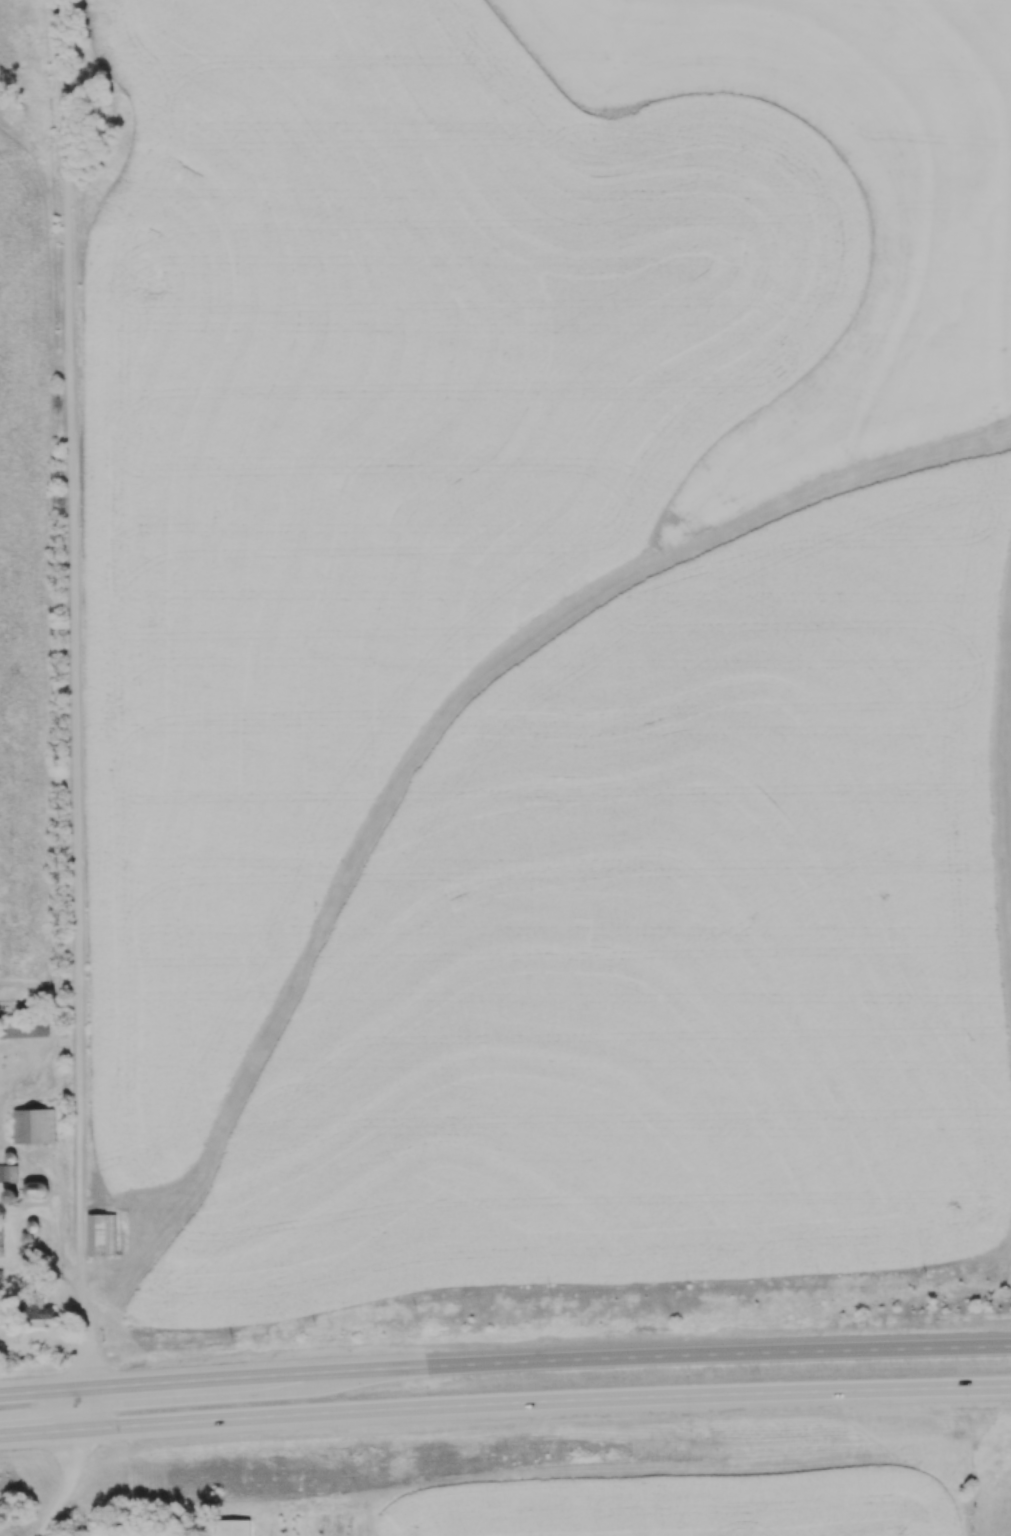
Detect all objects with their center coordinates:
road: (442, 713)
road: (74, 718)
road: (1006, 767)
building: (24, 1028)
building: (33, 1125)
building: (8, 1172)
building: (101, 1233)
building: (1, 1241)
building: (38, 1313)
road: (505, 1367)
road: (505, 1407)
crop: (989, 1476)
road: (70, 1488)
crop: (706, 1492)
building: (233, 1527)

